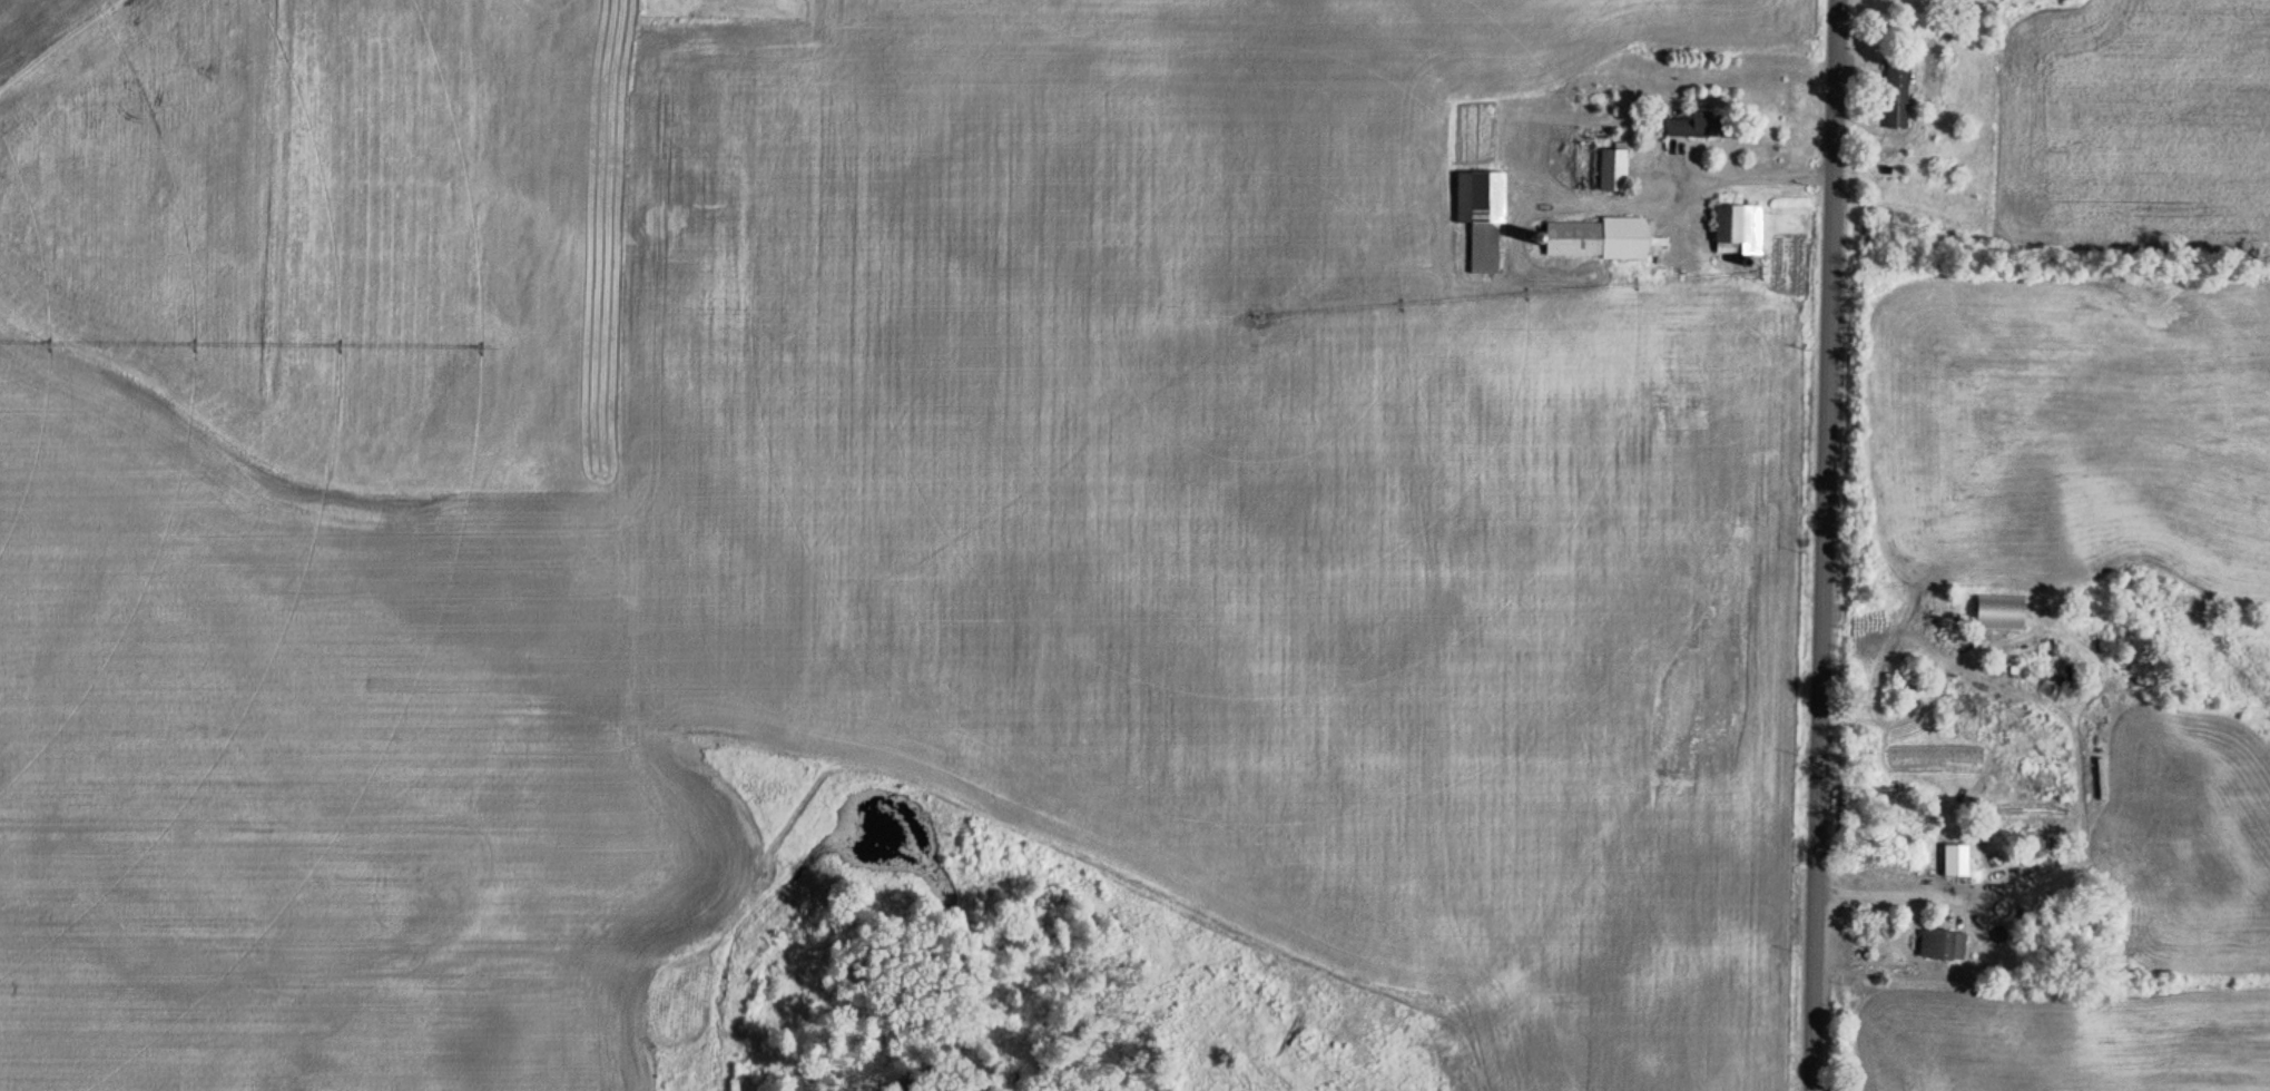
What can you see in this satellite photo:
building: (1938, 63)
building: (1899, 91)
crop: (2133, 119)
building: (1699, 125)
building: (1619, 169)
building: (1486, 216)
building: (1743, 229)
building: (1603, 238)
road: (1826, 545)
building: (1950, 863)
building: (1928, 945)

